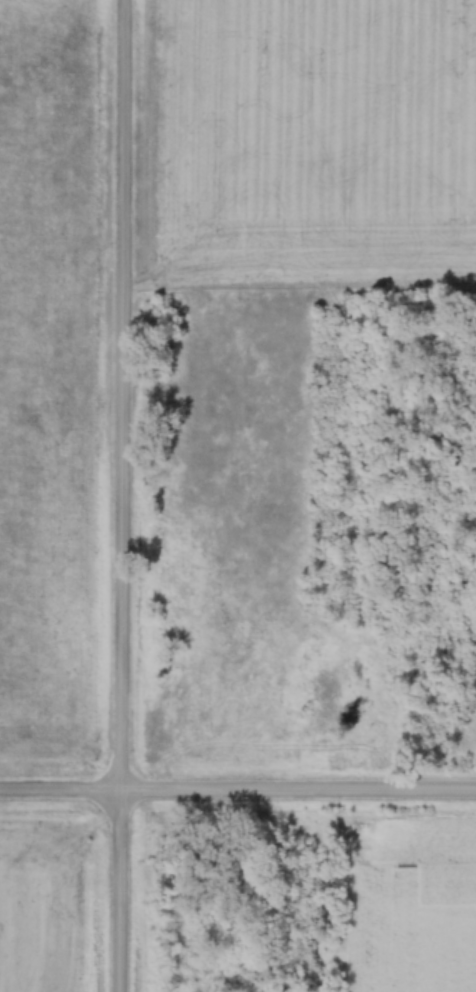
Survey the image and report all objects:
road: (112, 496)
road: (238, 785)

